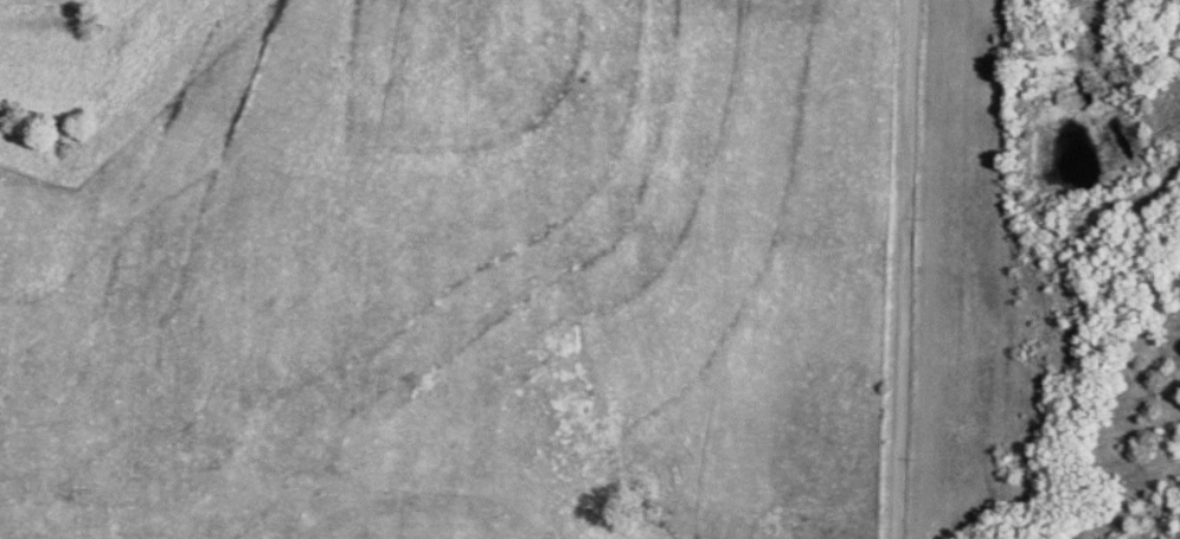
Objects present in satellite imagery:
road: (908, 269)

